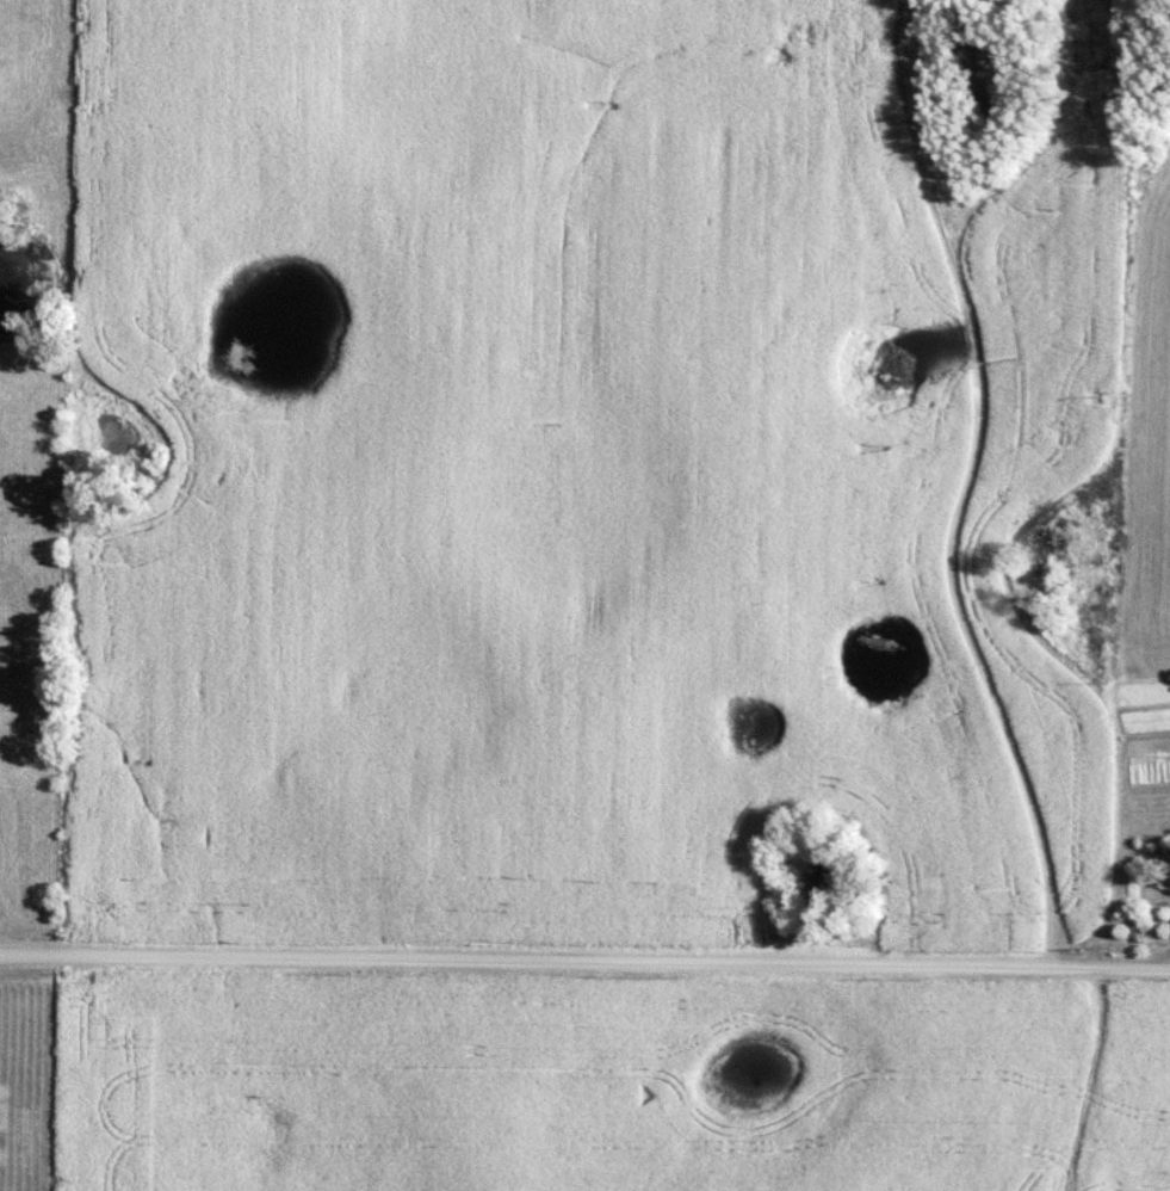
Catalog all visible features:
road: (584, 958)

